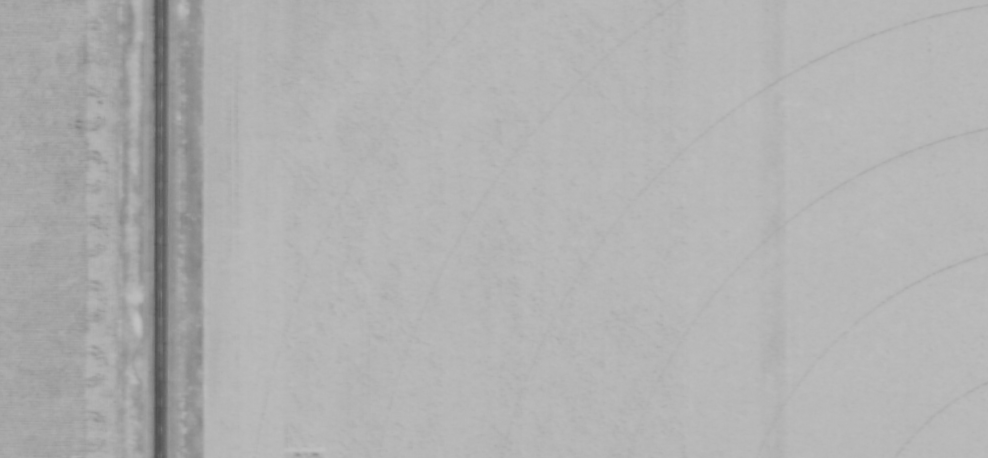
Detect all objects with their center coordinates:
road: (162, 228)

